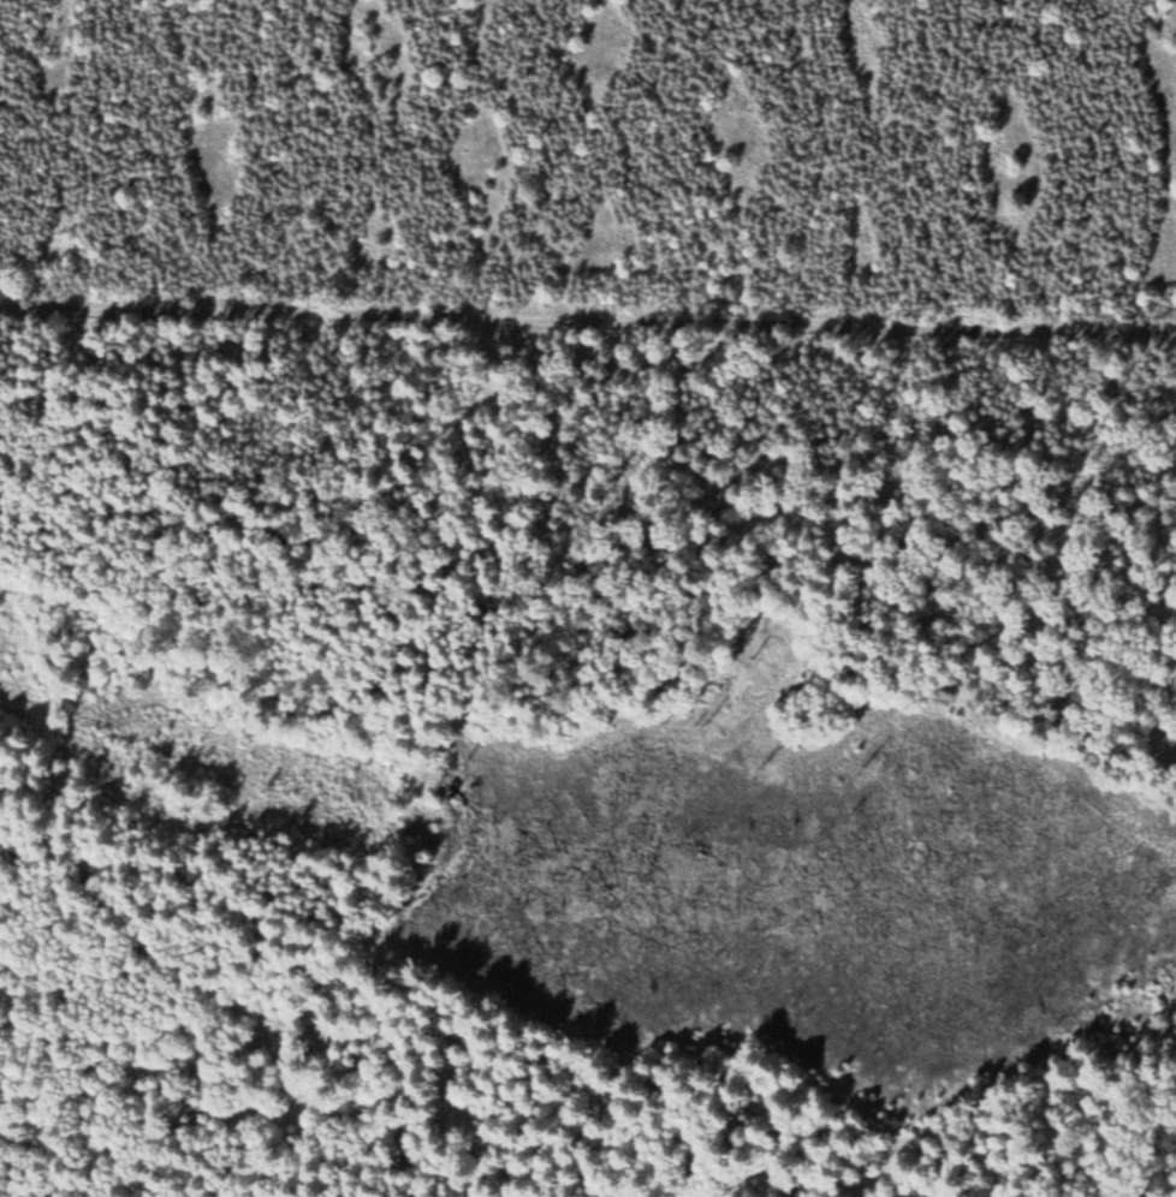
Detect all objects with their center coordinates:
road: (588, 315)

